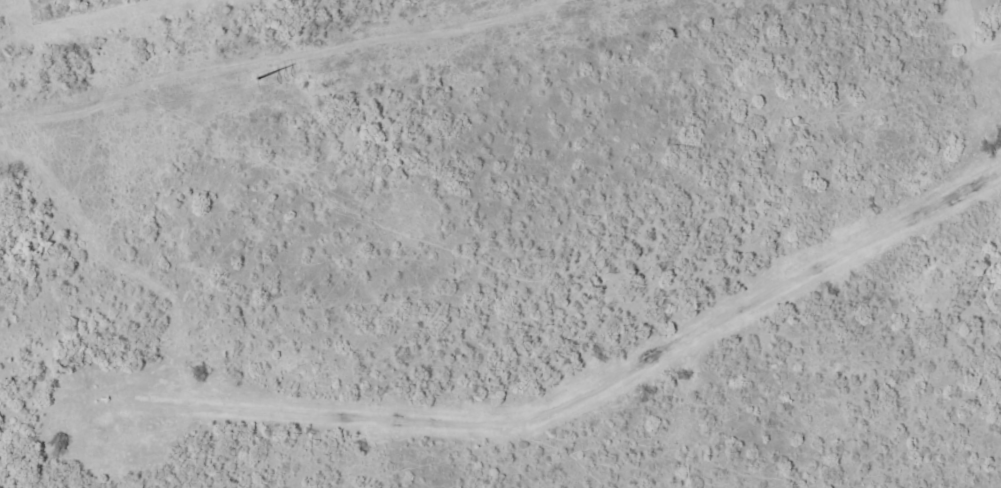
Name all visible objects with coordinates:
power tower: (258, 77)
building: (979, 384)

